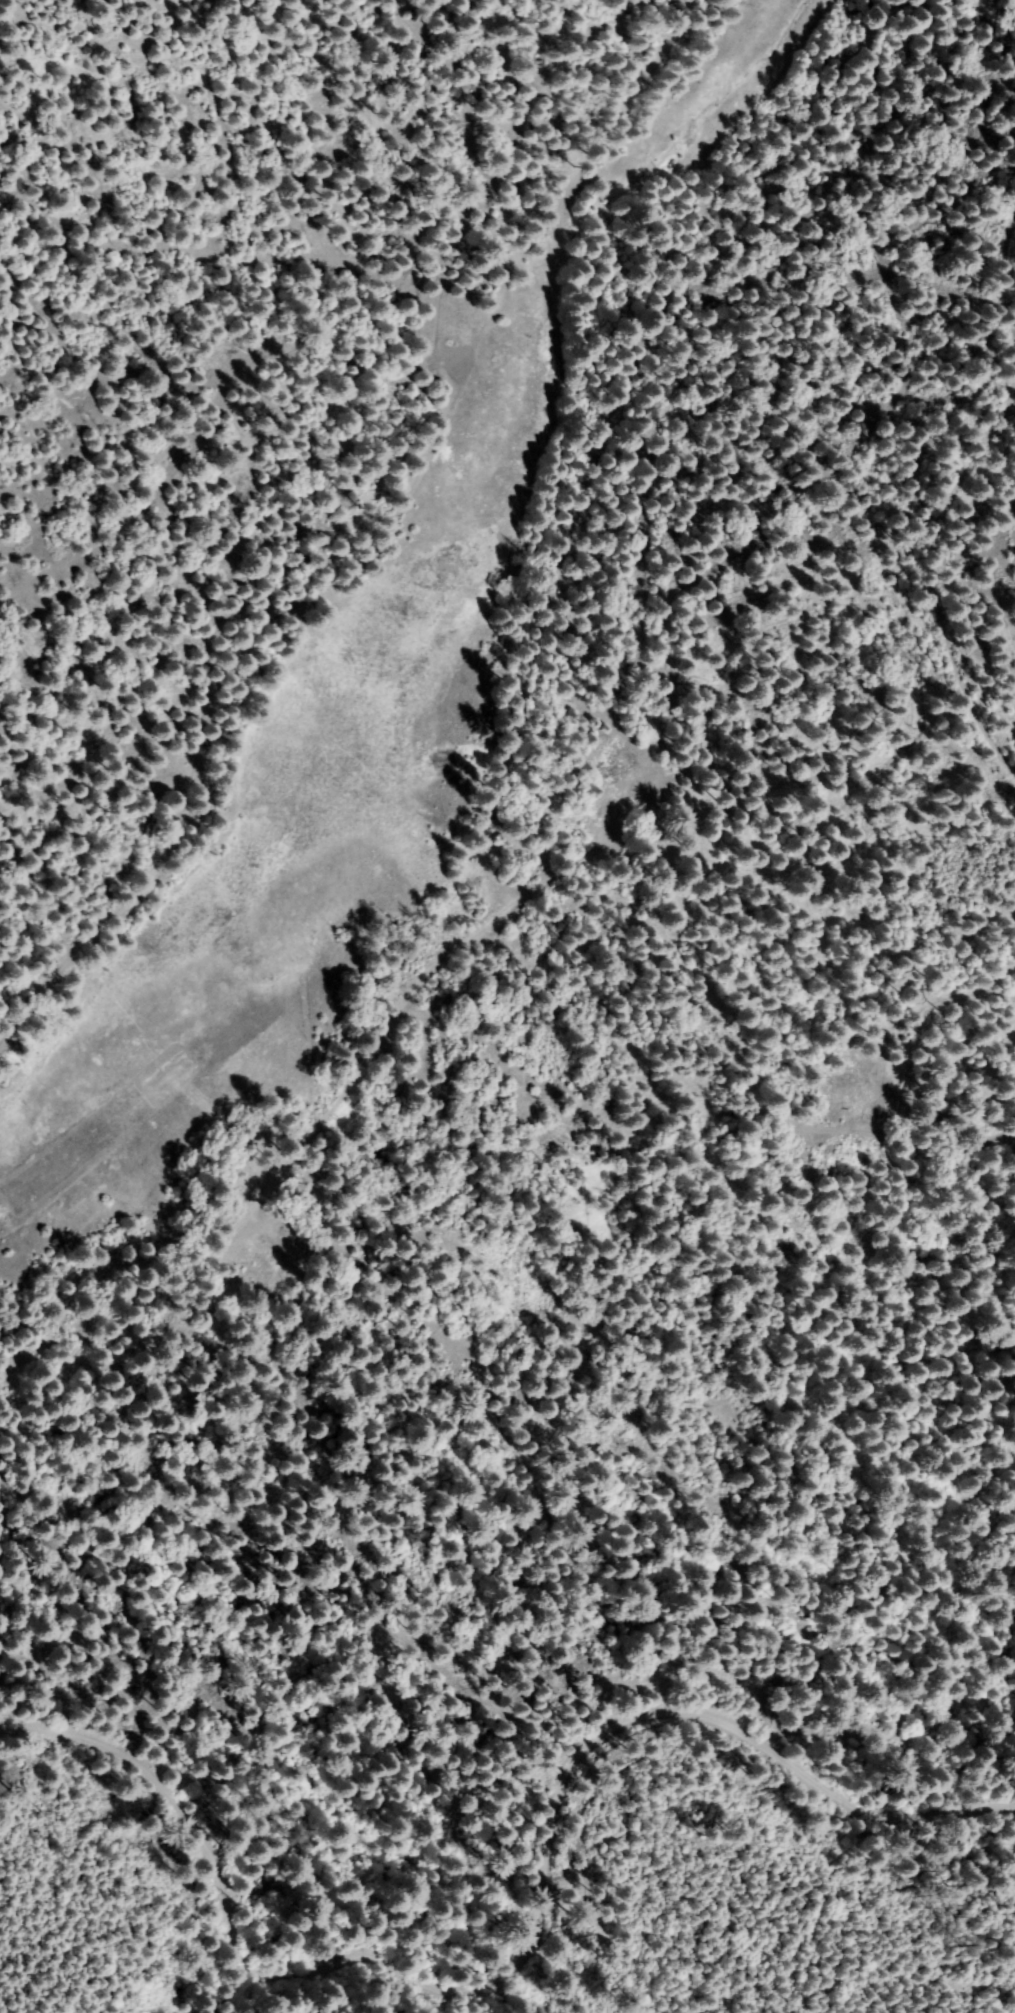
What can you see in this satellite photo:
road: (964, 596)

